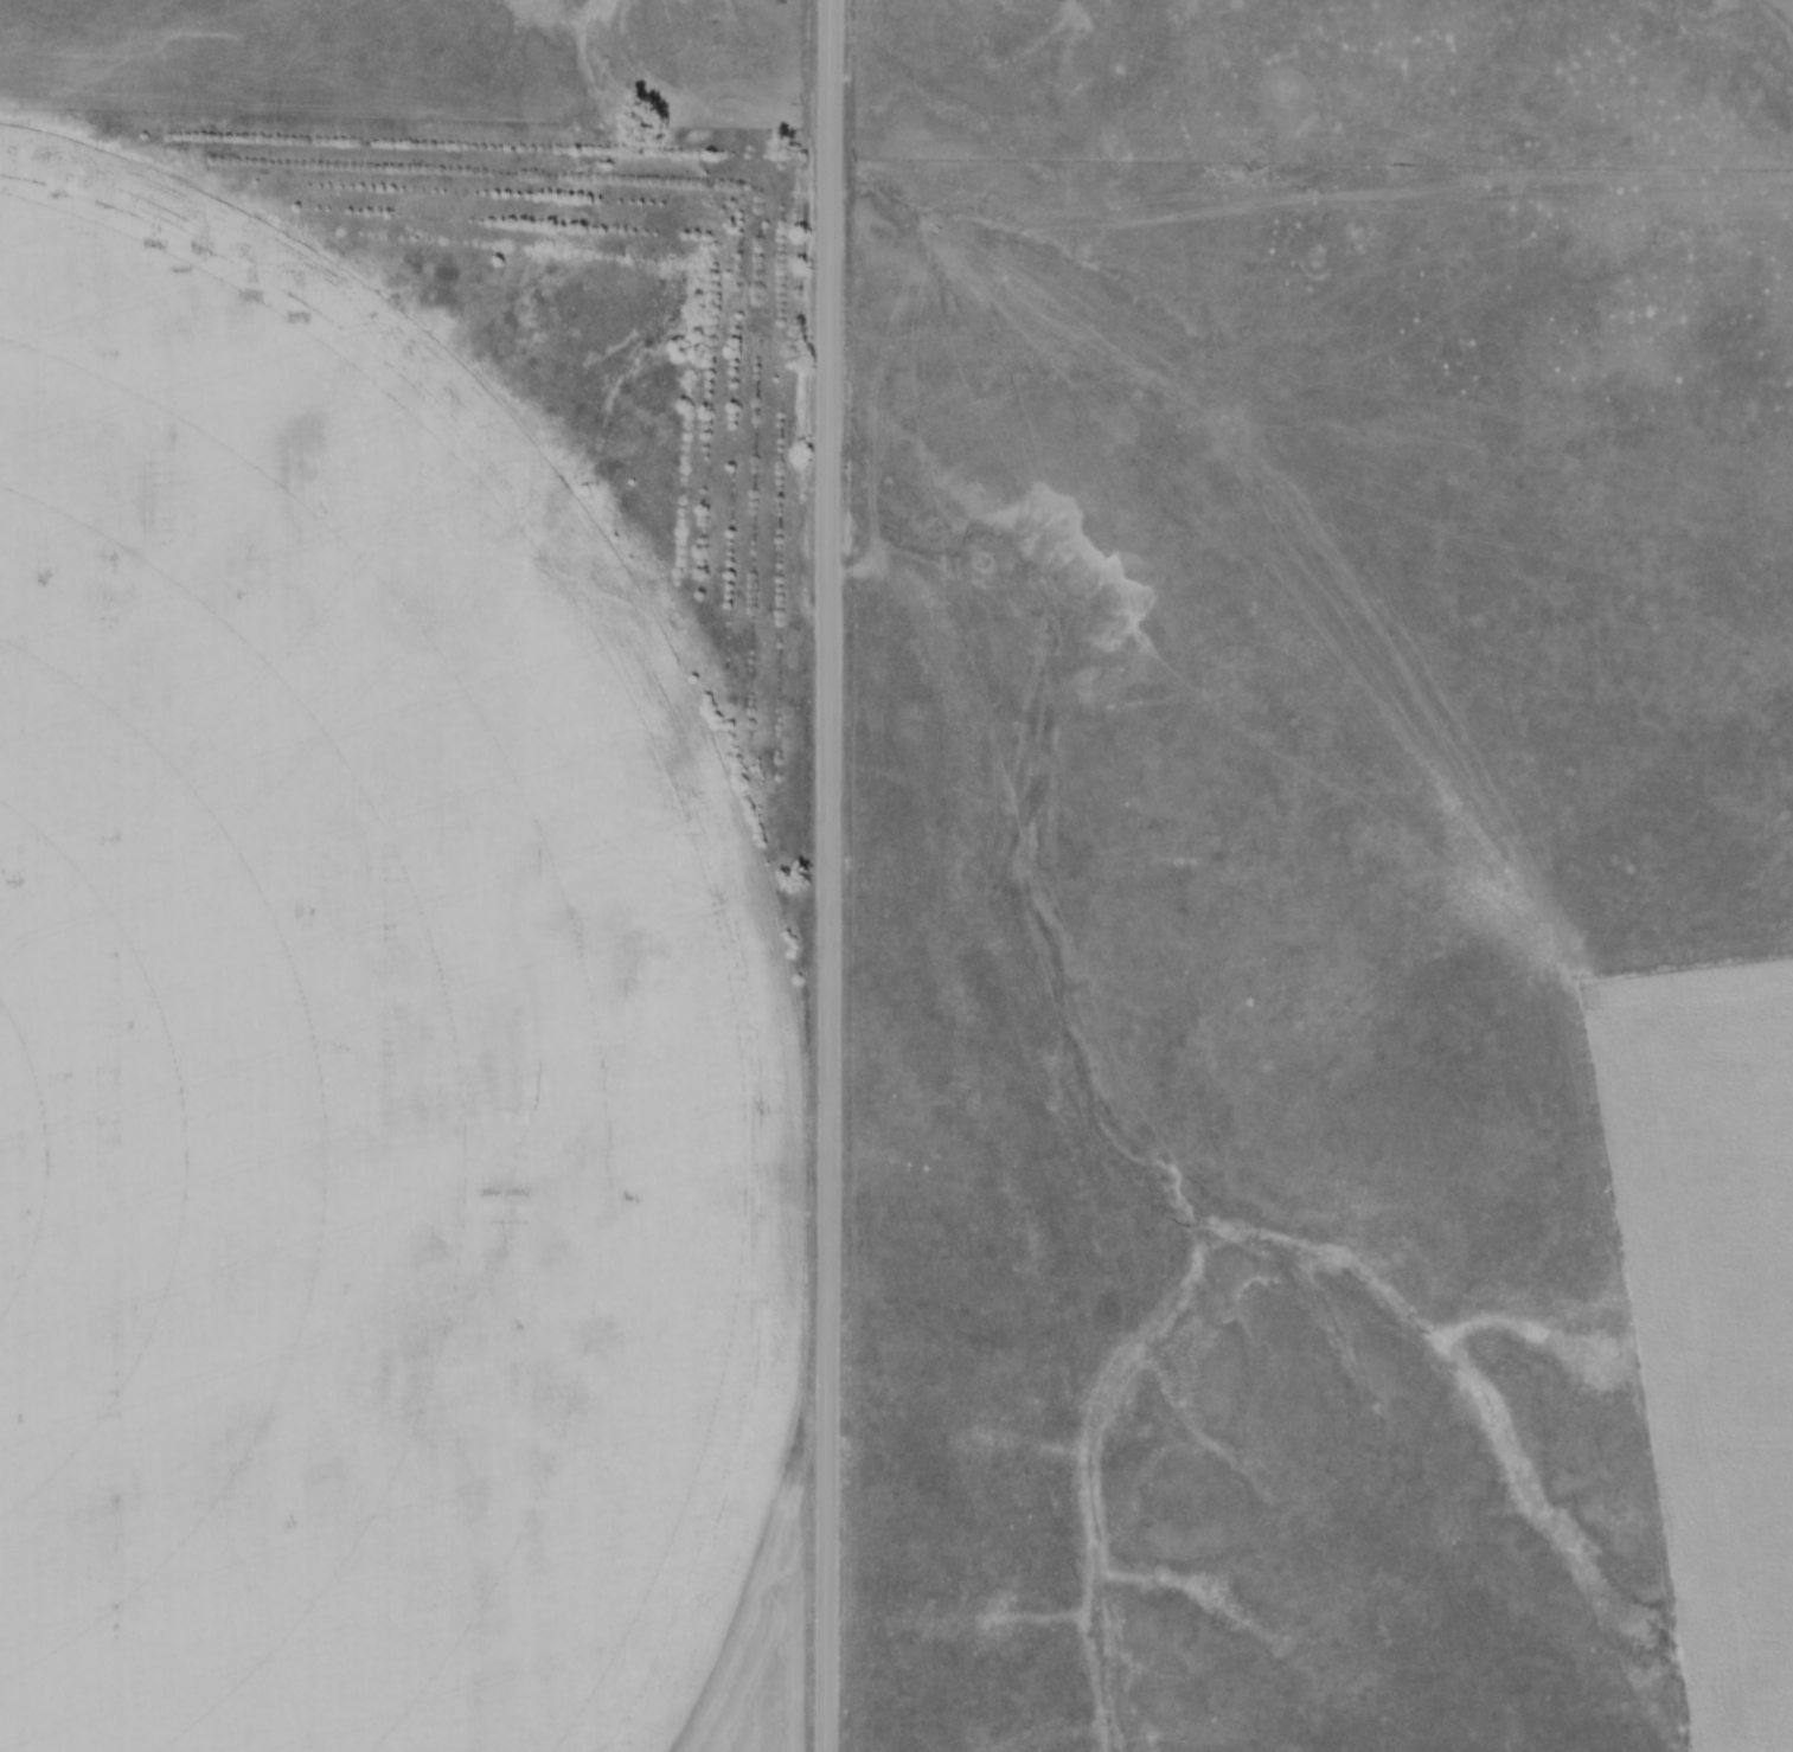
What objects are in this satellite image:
road: (826, 875)
crop: (364, 1046)
crop: (1709, 1315)

